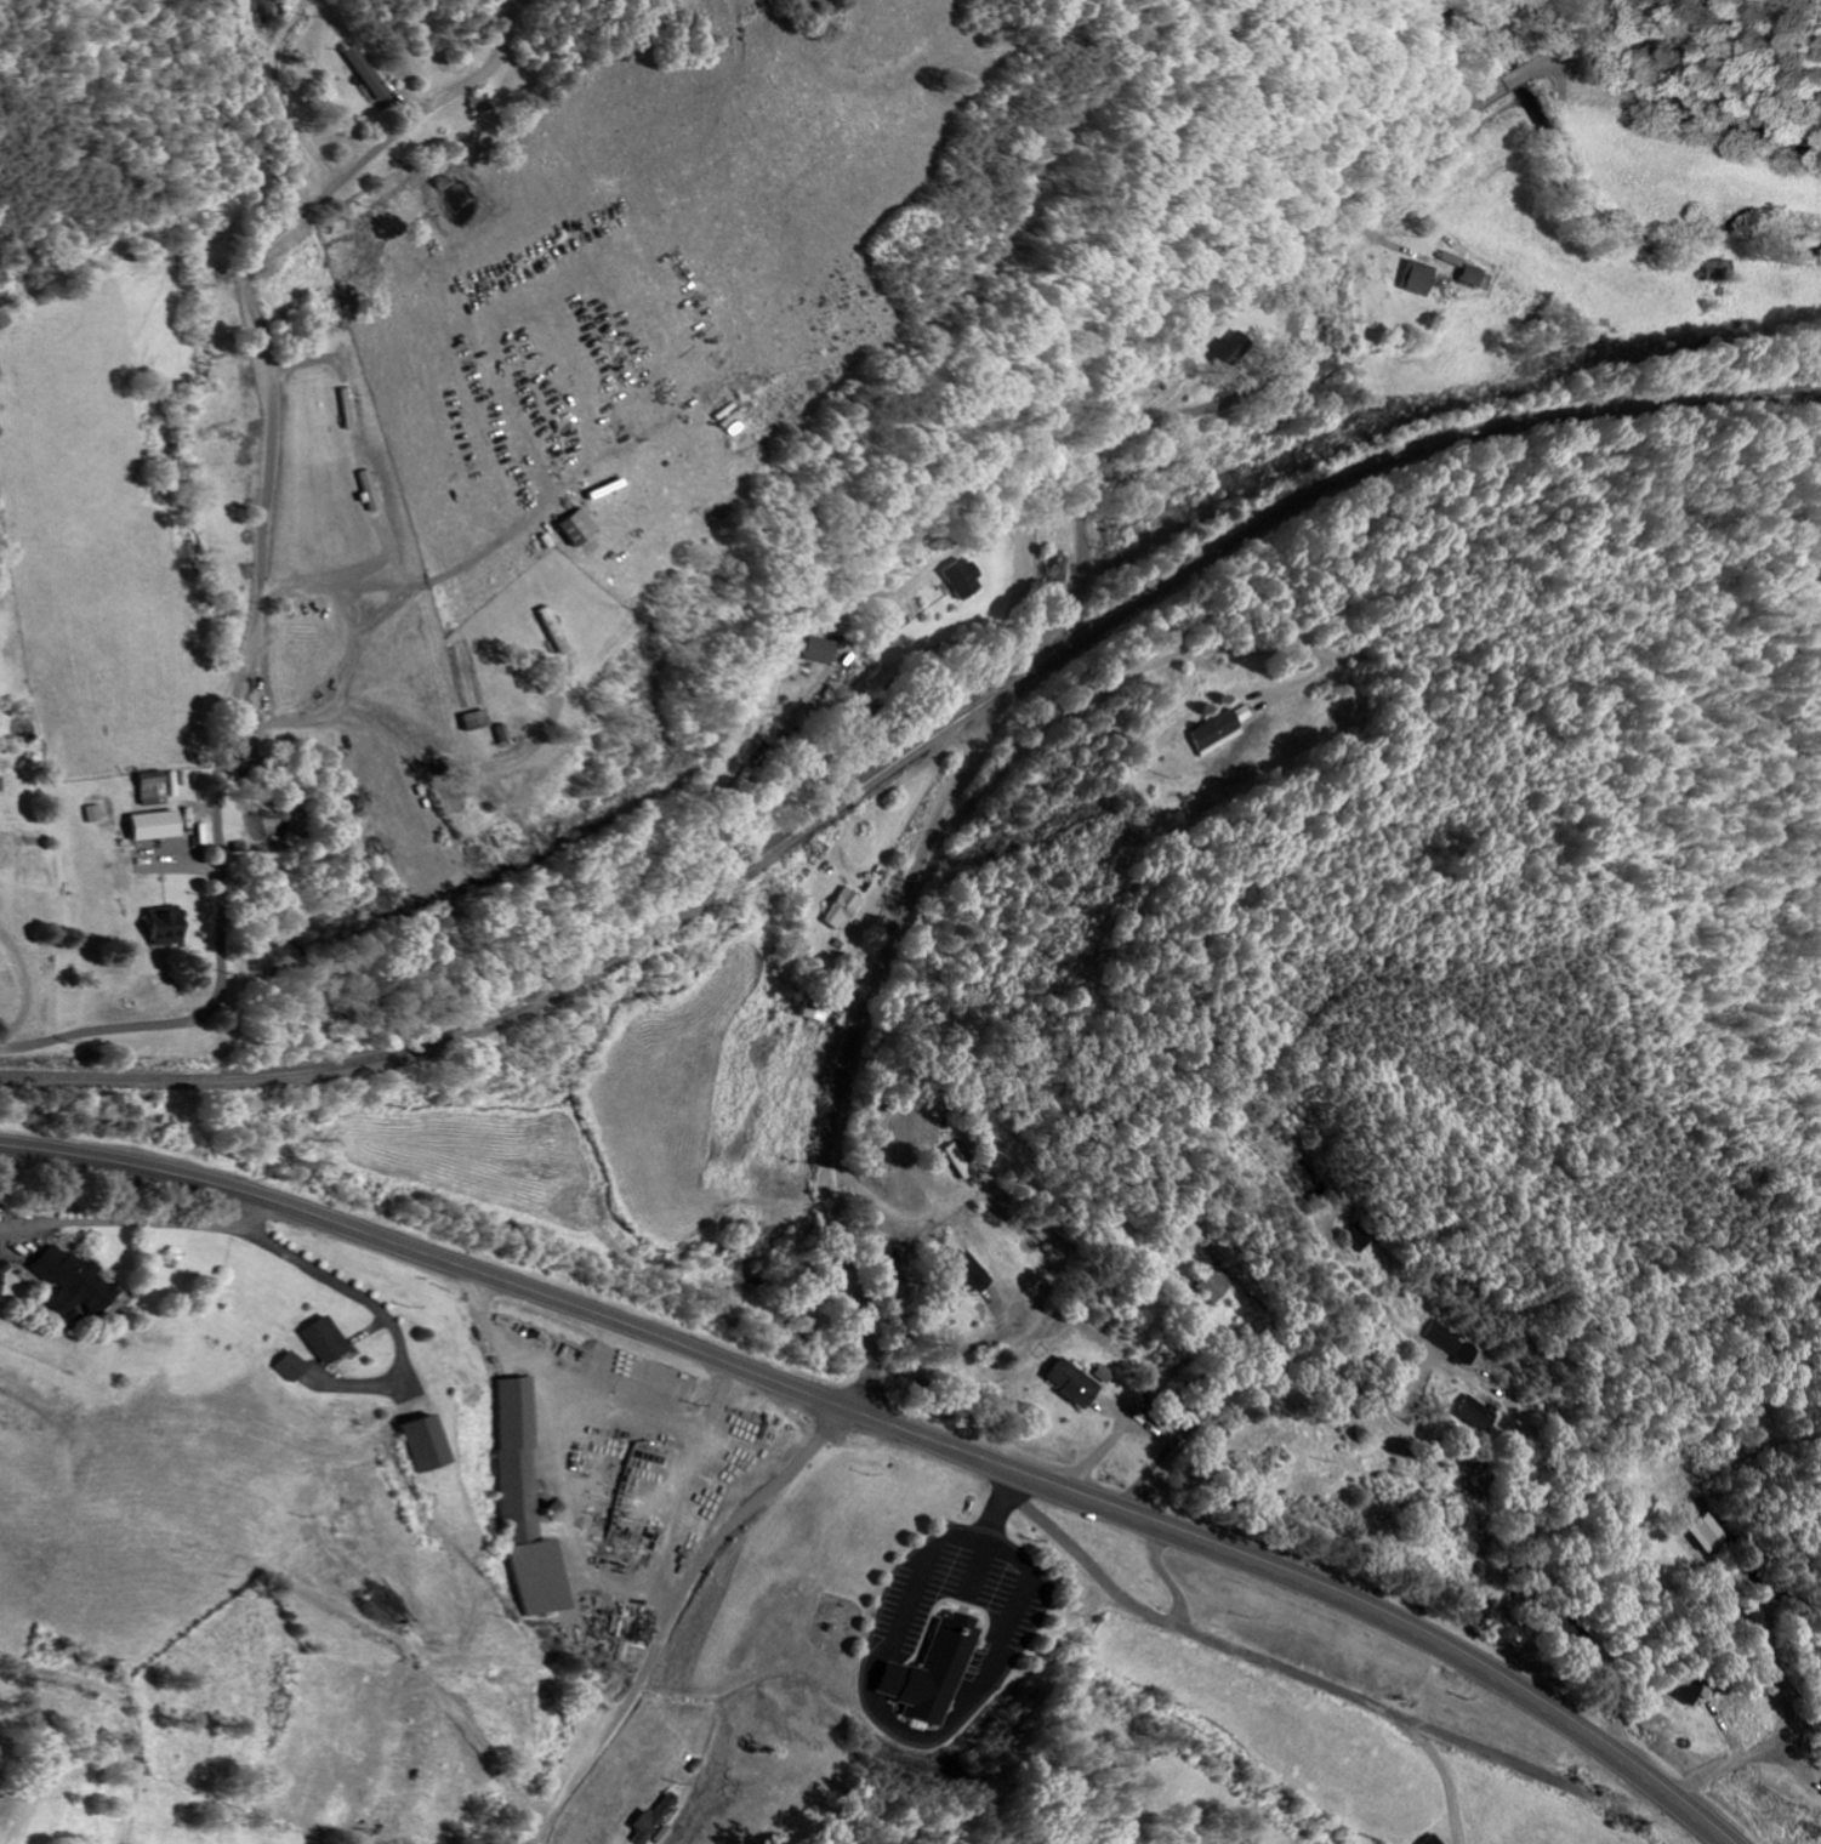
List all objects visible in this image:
building: (359, 73)
building: (1714, 269)
building: (1416, 278)
building: (1218, 349)
building: (360, 490)
road: (1079, 507)
building: (571, 525)
road: (966, 540)
road: (263, 550)
building: (952, 576)
road: (417, 582)
building: (808, 649)
road: (1151, 662)
building: (1210, 732)
road: (399, 747)
railway: (912, 753)
building: (143, 790)
building: (146, 825)
building: (843, 909)
building: (154, 926)
building: (815, 1007)
building: (950, 1161)
road: (892, 1214)
road: (143, 1223)
building: (1343, 1237)
building: (958, 1274)
building: (75, 1282)
building: (1197, 1282)
building: (2, 1284)
road: (385, 1315)
building: (326, 1339)
building: (1447, 1342)
road: (946, 1353)
road: (1262, 1361)
building: (296, 1366)
building: (1055, 1382)
road: (592, 1394)
building: (1468, 1413)
road: (898, 1425)
building: (421, 1442)
road: (996, 1503)
building: (522, 1504)
building: (1705, 1532)
parking lot: (968, 1594)
road: (675, 1614)
road: (1250, 1656)
building: (934, 1673)
building: (1689, 1690)
road: (1789, 1703)
road: (917, 1731)
building: (645, 1820)
building: (1430, 1839)

